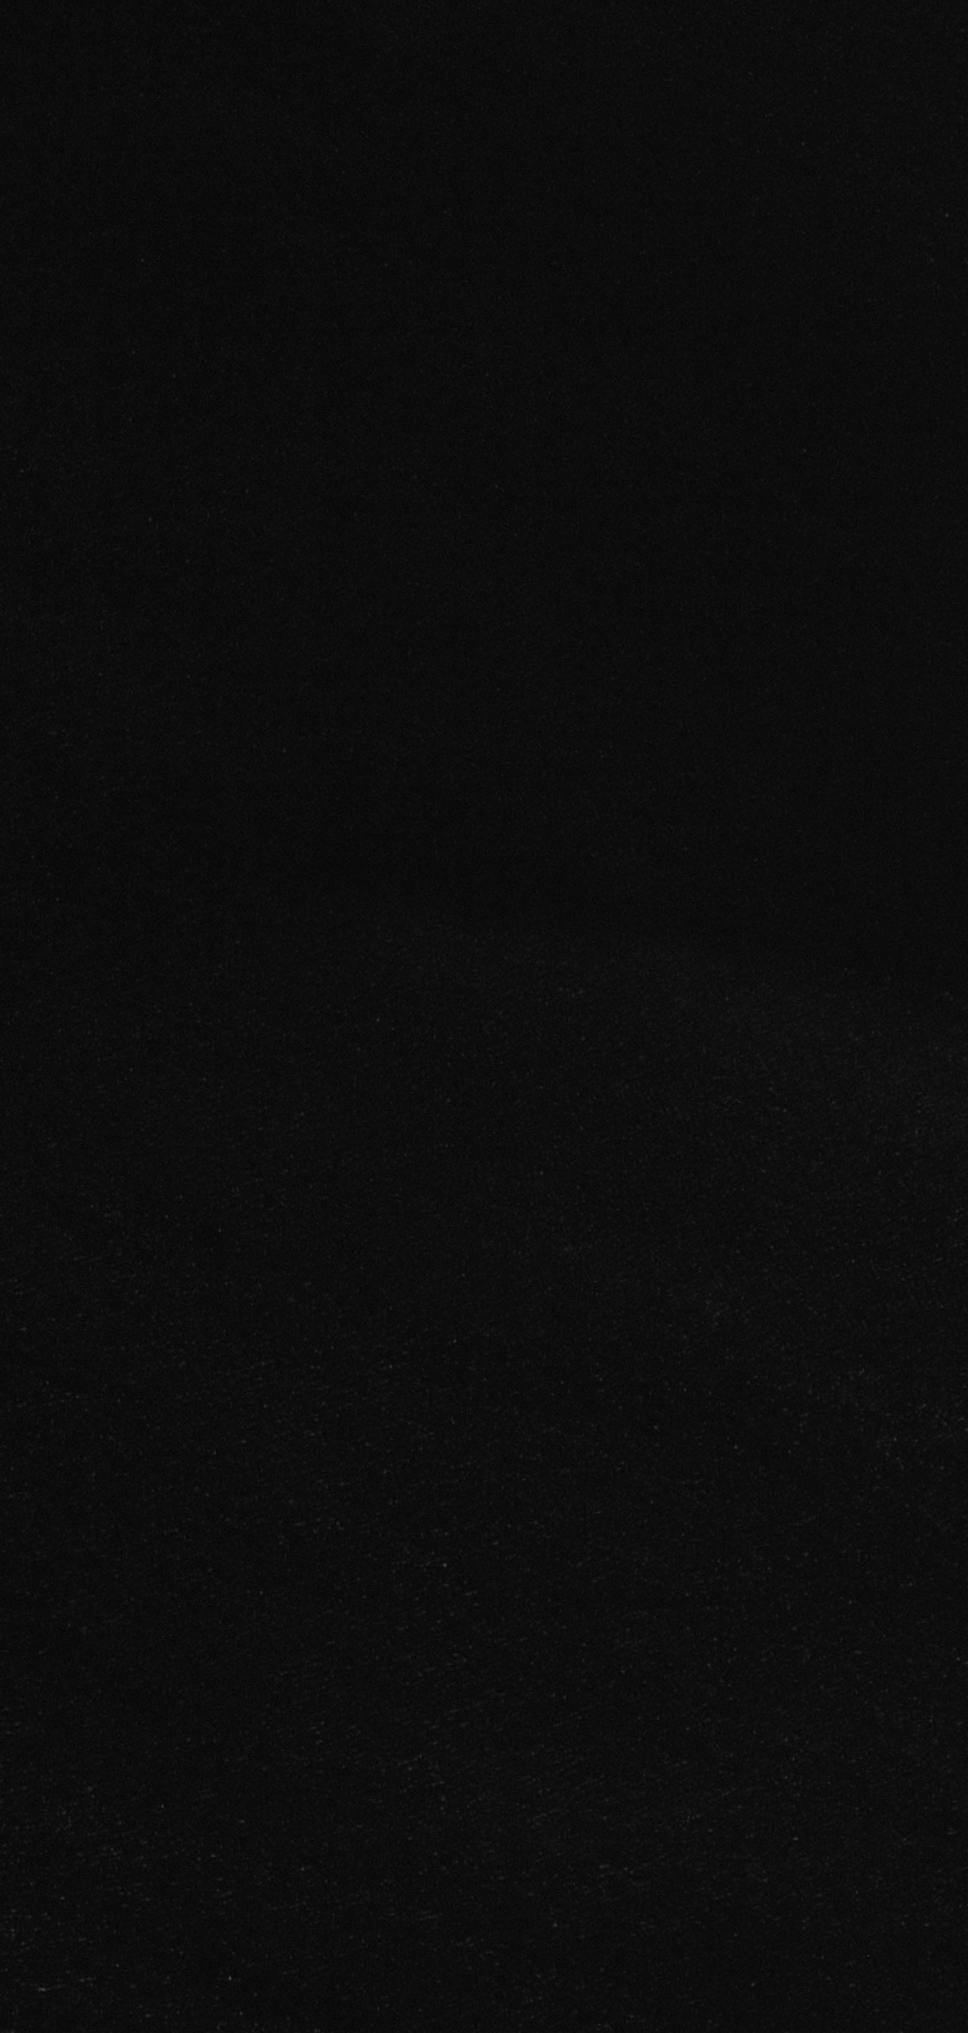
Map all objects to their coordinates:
building: (601, 1678)
river: (33, 2004)

